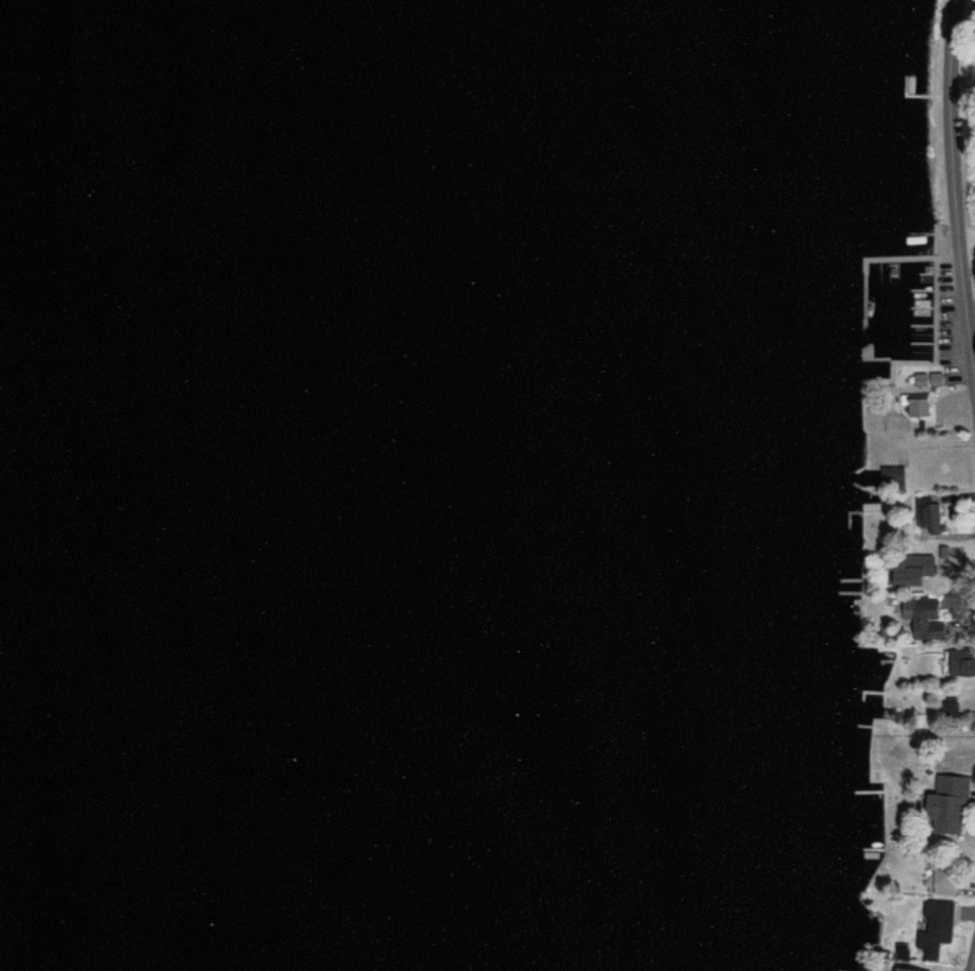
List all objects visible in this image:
road: (963, 167)
building: (929, 517)
building: (908, 569)
building: (919, 617)
building: (969, 710)
building: (945, 806)
building: (944, 877)
building: (934, 927)
road: (974, 968)
building: (905, 970)

